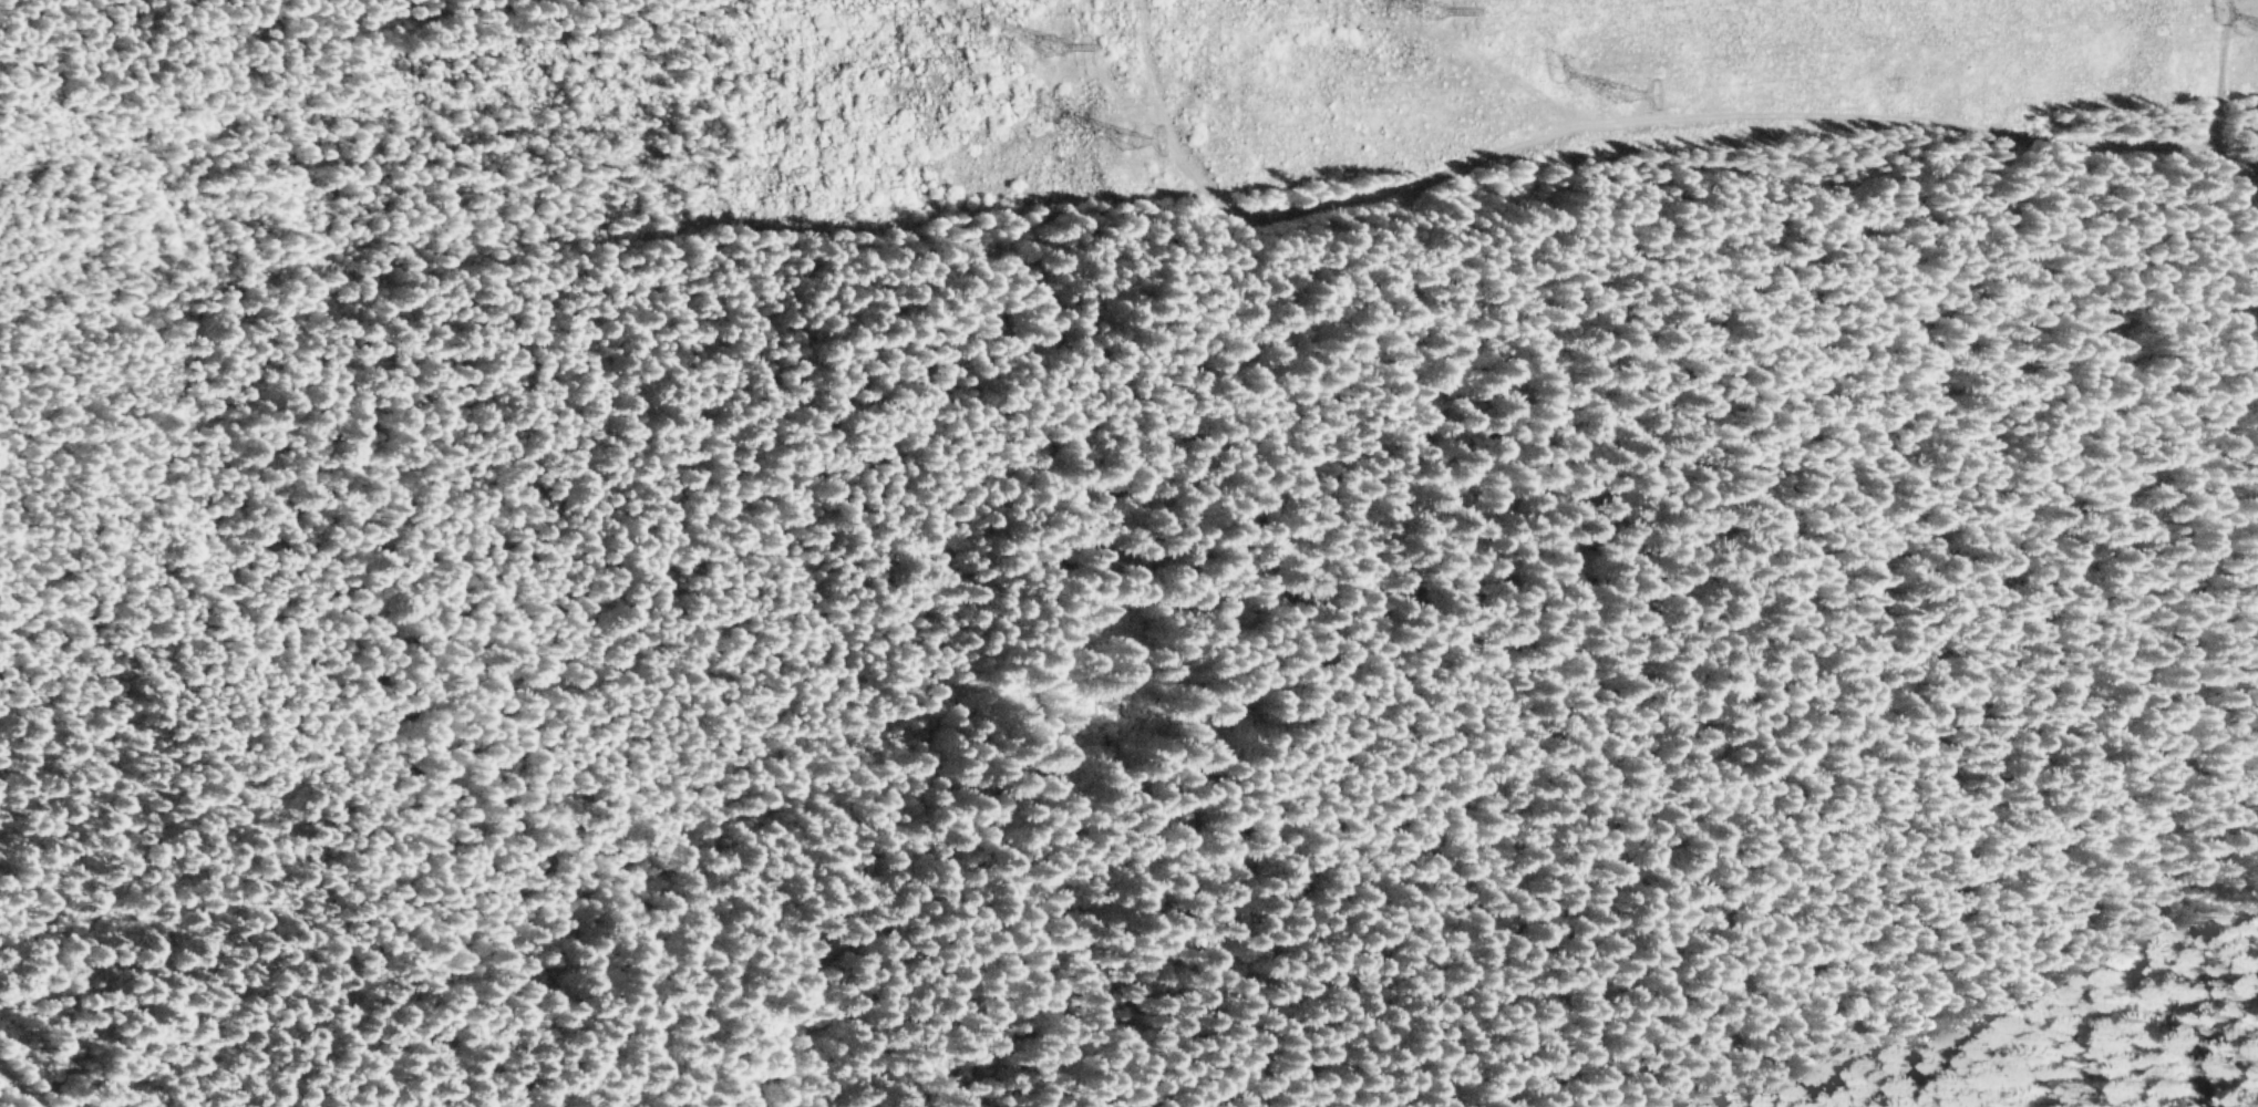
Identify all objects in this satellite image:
power tower: (1427, 4)
power tower: (1049, 49)
power tower: (1615, 89)
road: (2217, 101)
power tower: (1131, 136)
road: (19, 1088)

